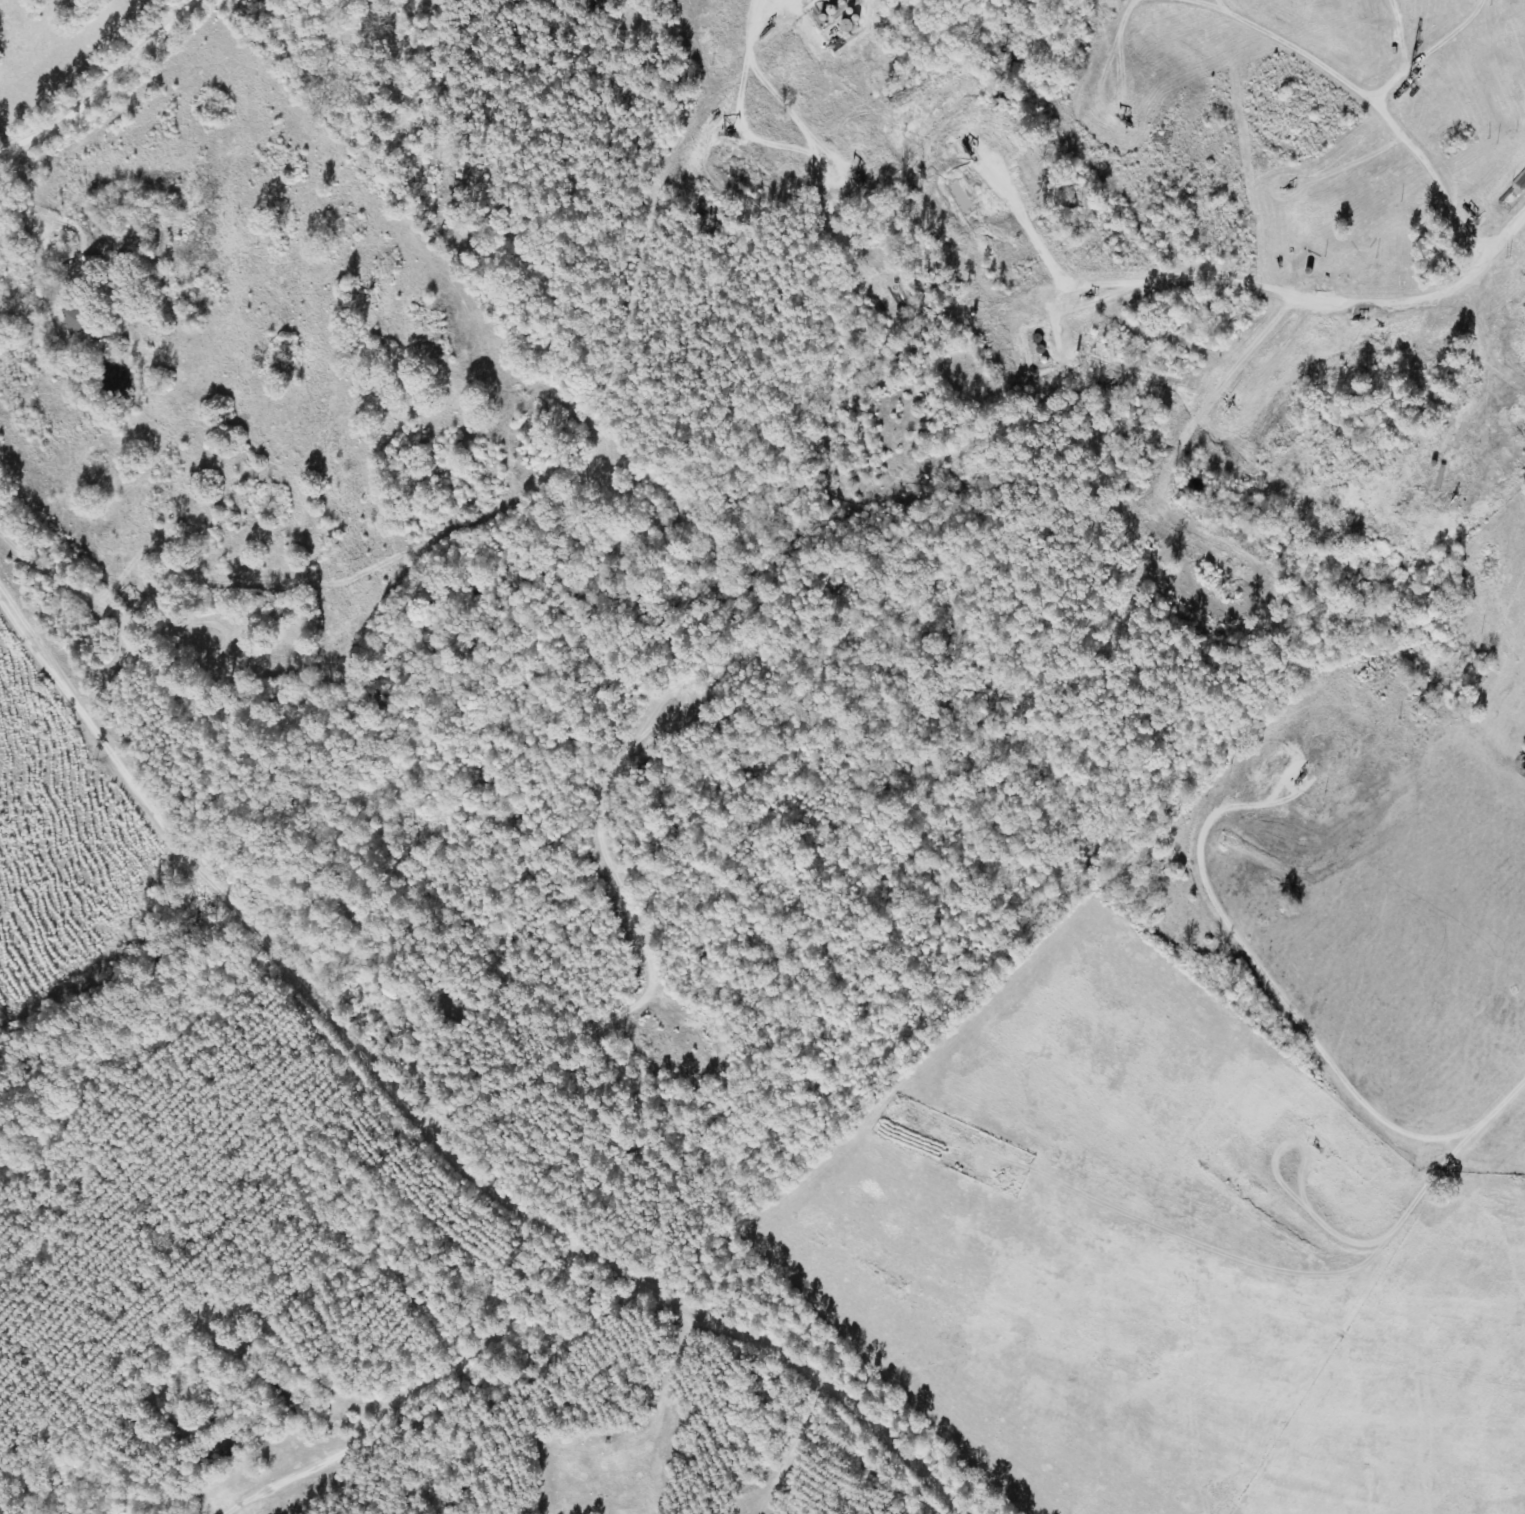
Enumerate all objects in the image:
road: (1293, 39)
road: (109, 79)
road: (1425, 120)
road: (786, 134)
building: (84, 318)
road: (1463, 327)
road: (436, 1097)
road: (413, 1381)

